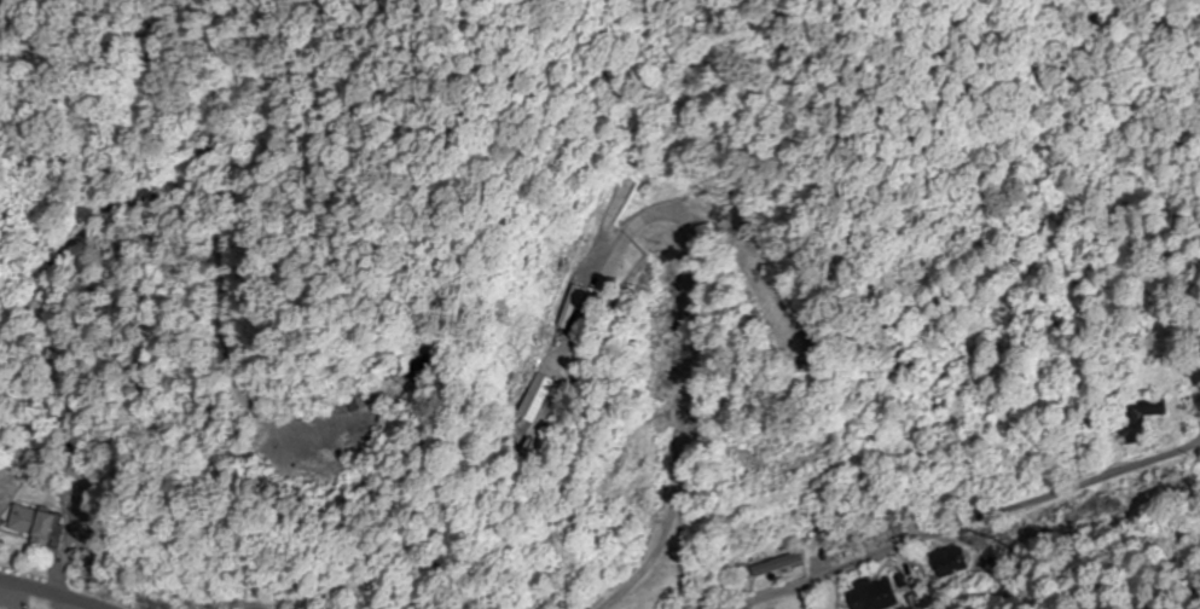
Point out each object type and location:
building: (535, 399)
building: (1137, 417)
road: (980, 521)
building: (34, 524)
building: (885, 527)
building: (951, 561)
building: (776, 564)
building: (996, 570)
road: (36, 594)
building: (876, 594)

